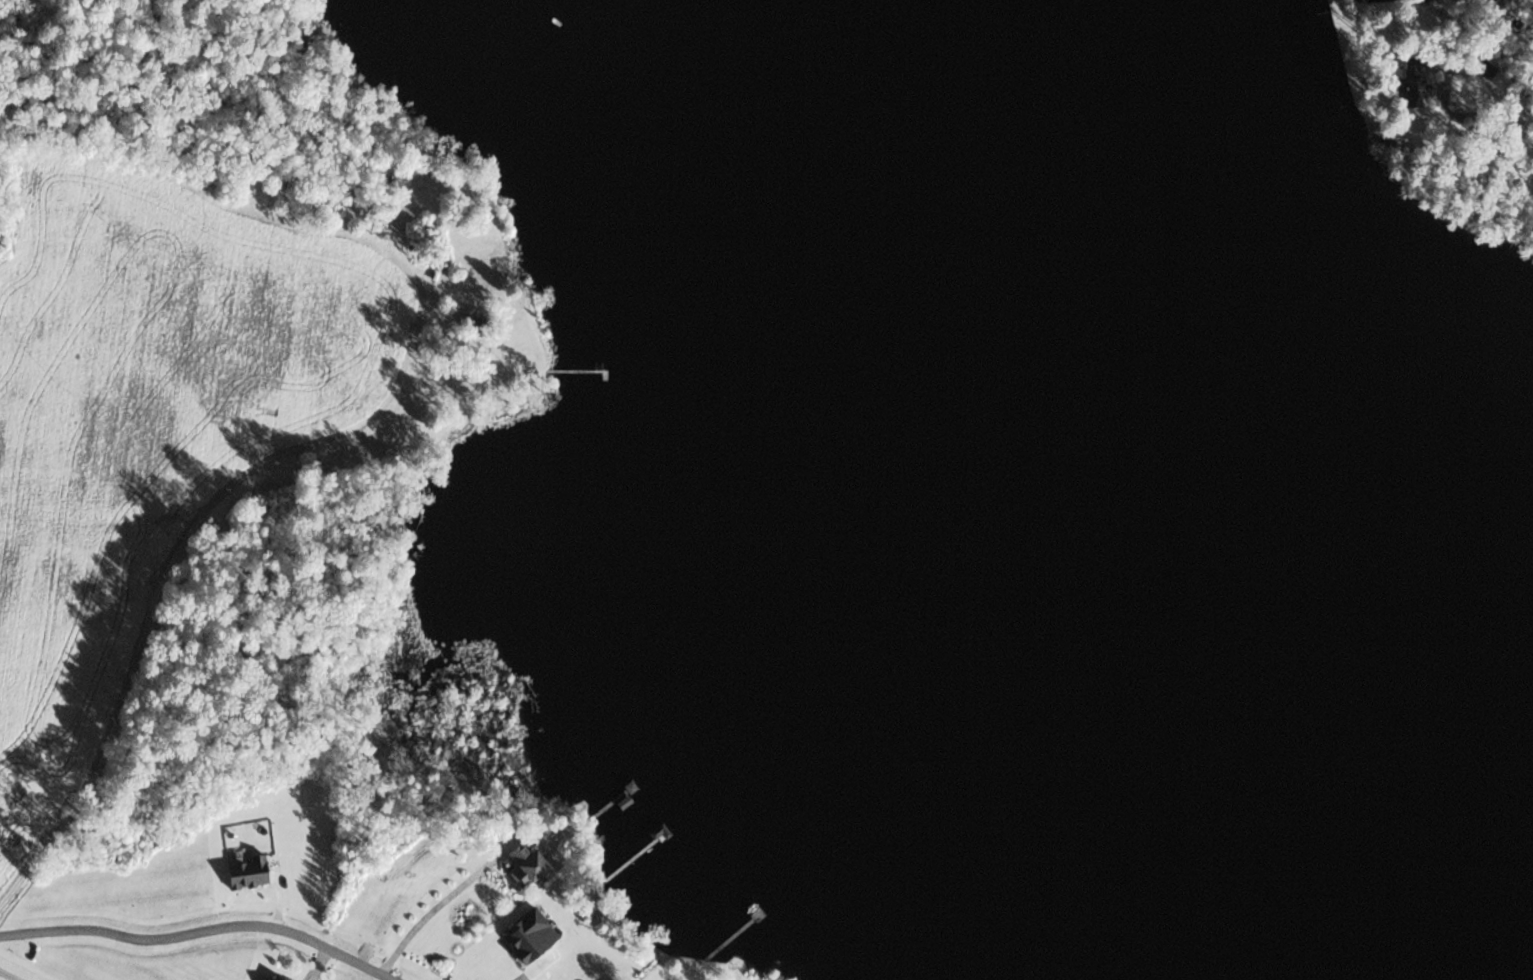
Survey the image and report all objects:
building: (1408, 85)
road: (110, 727)
building: (521, 865)
building: (245, 873)
road: (203, 930)
road: (10, 974)
building: (271, 977)

